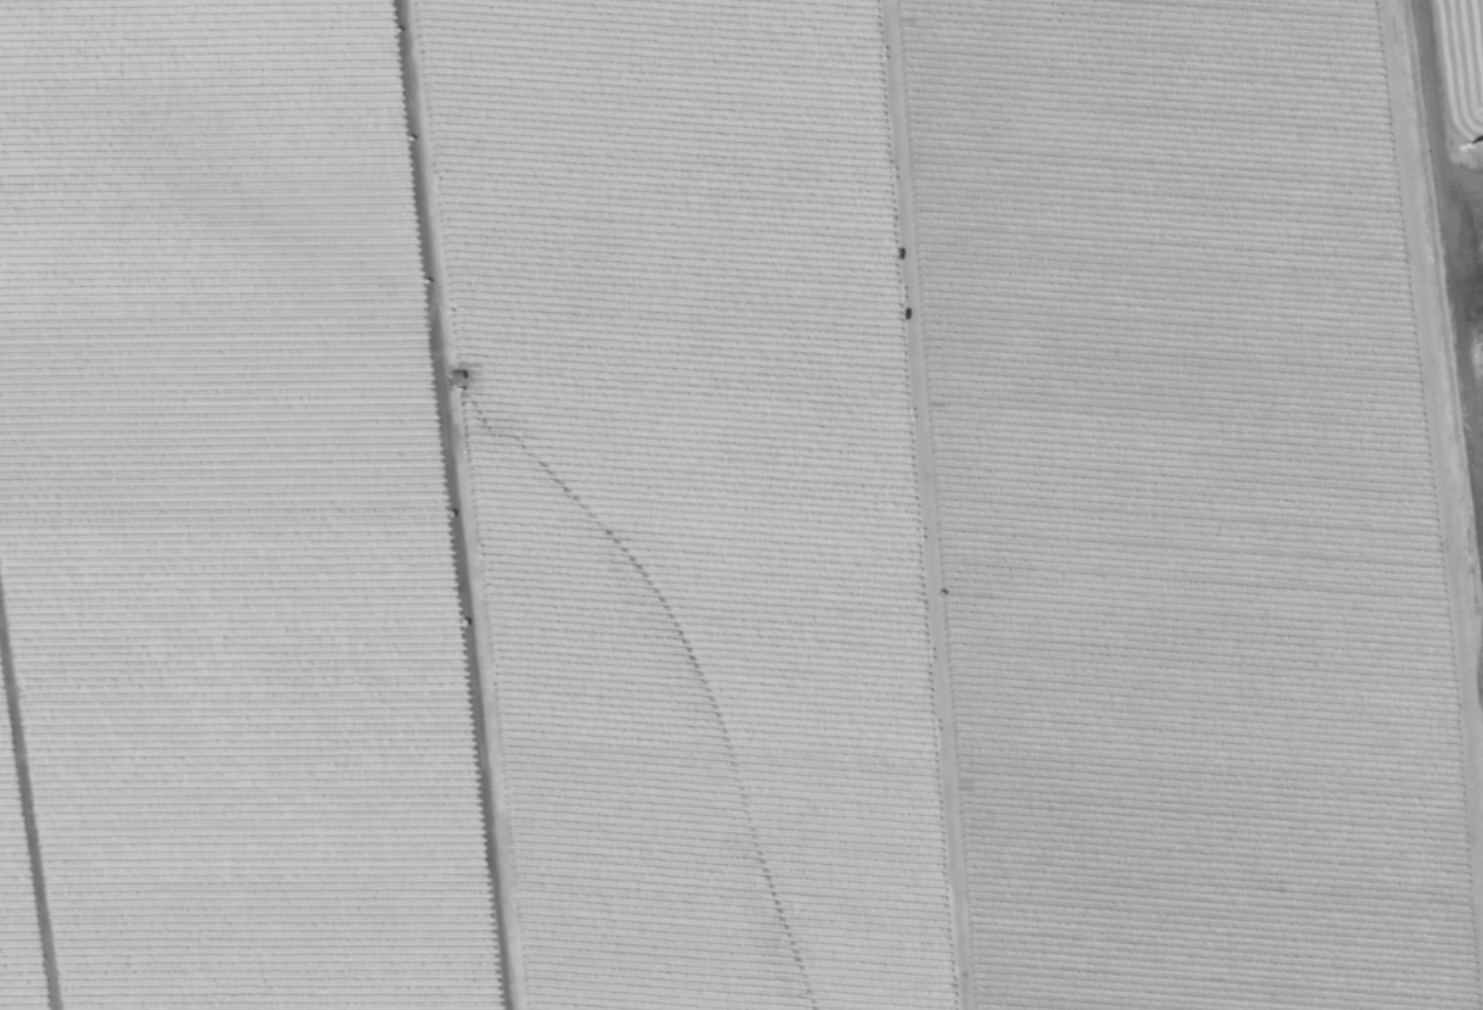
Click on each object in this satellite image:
road: (1431, 95)
road: (1463, 186)
road: (1463, 359)
building: (457, 375)
road: (1478, 448)
road: (455, 505)
crop: (741, 505)
road: (27, 818)

